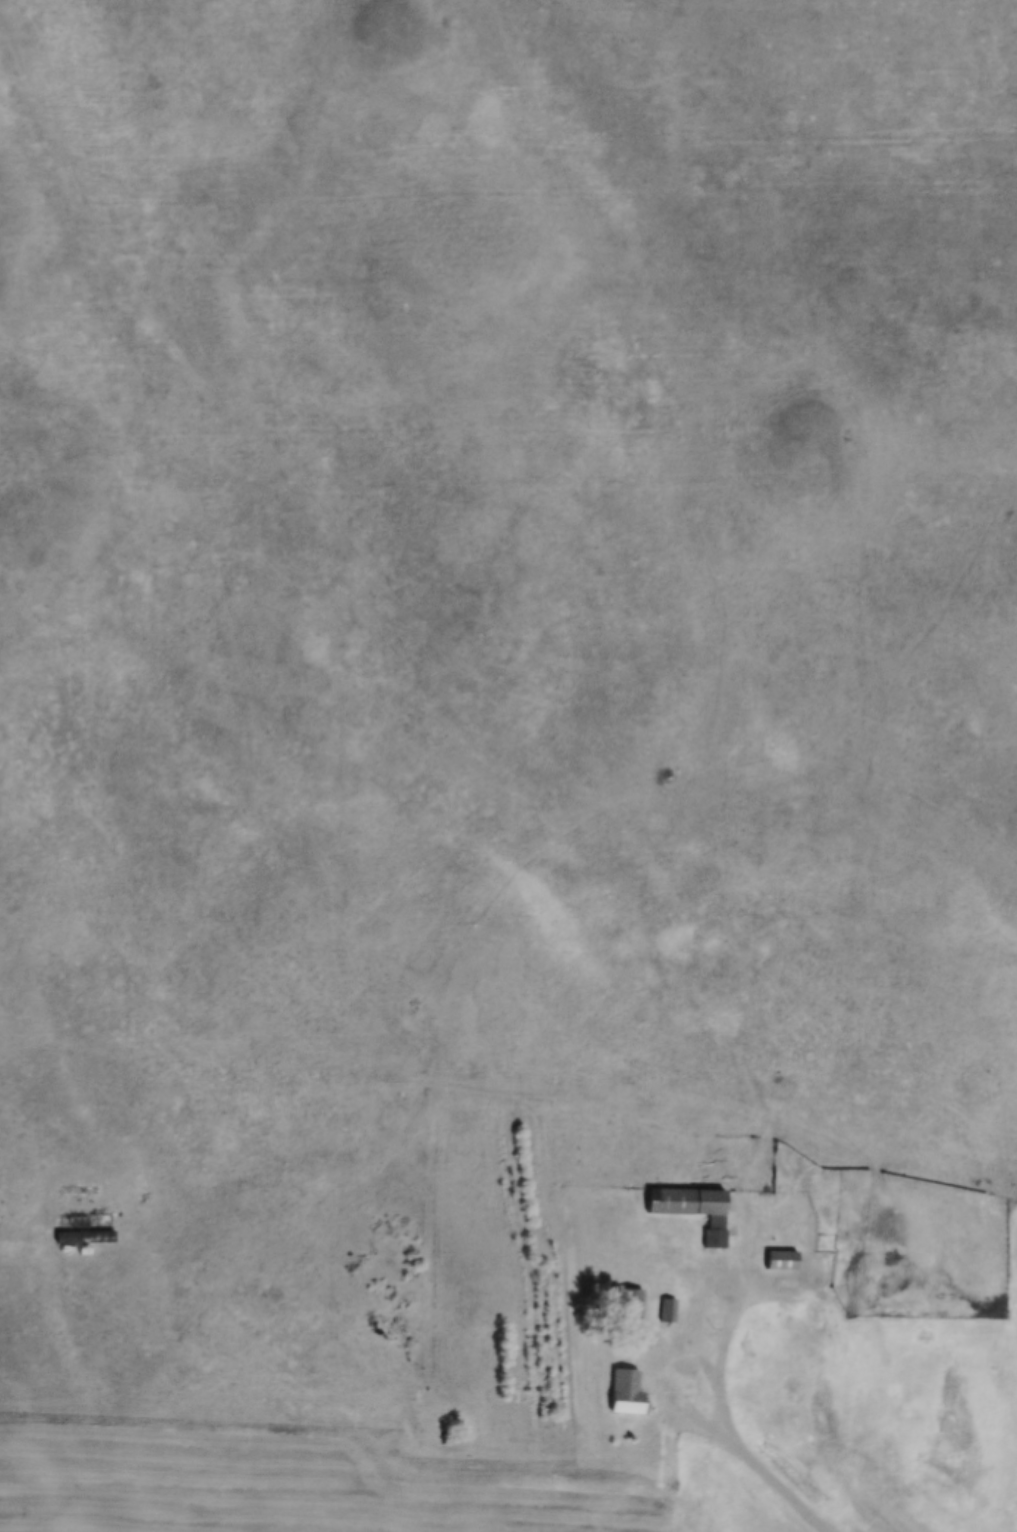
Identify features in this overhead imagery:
building: (844, 1189)
building: (691, 1210)
building: (780, 1261)
road: (728, 1297)
building: (628, 1305)
building: (667, 1311)
road: (669, 1359)
building: (625, 1392)
road: (348, 1456)
road: (771, 1484)

